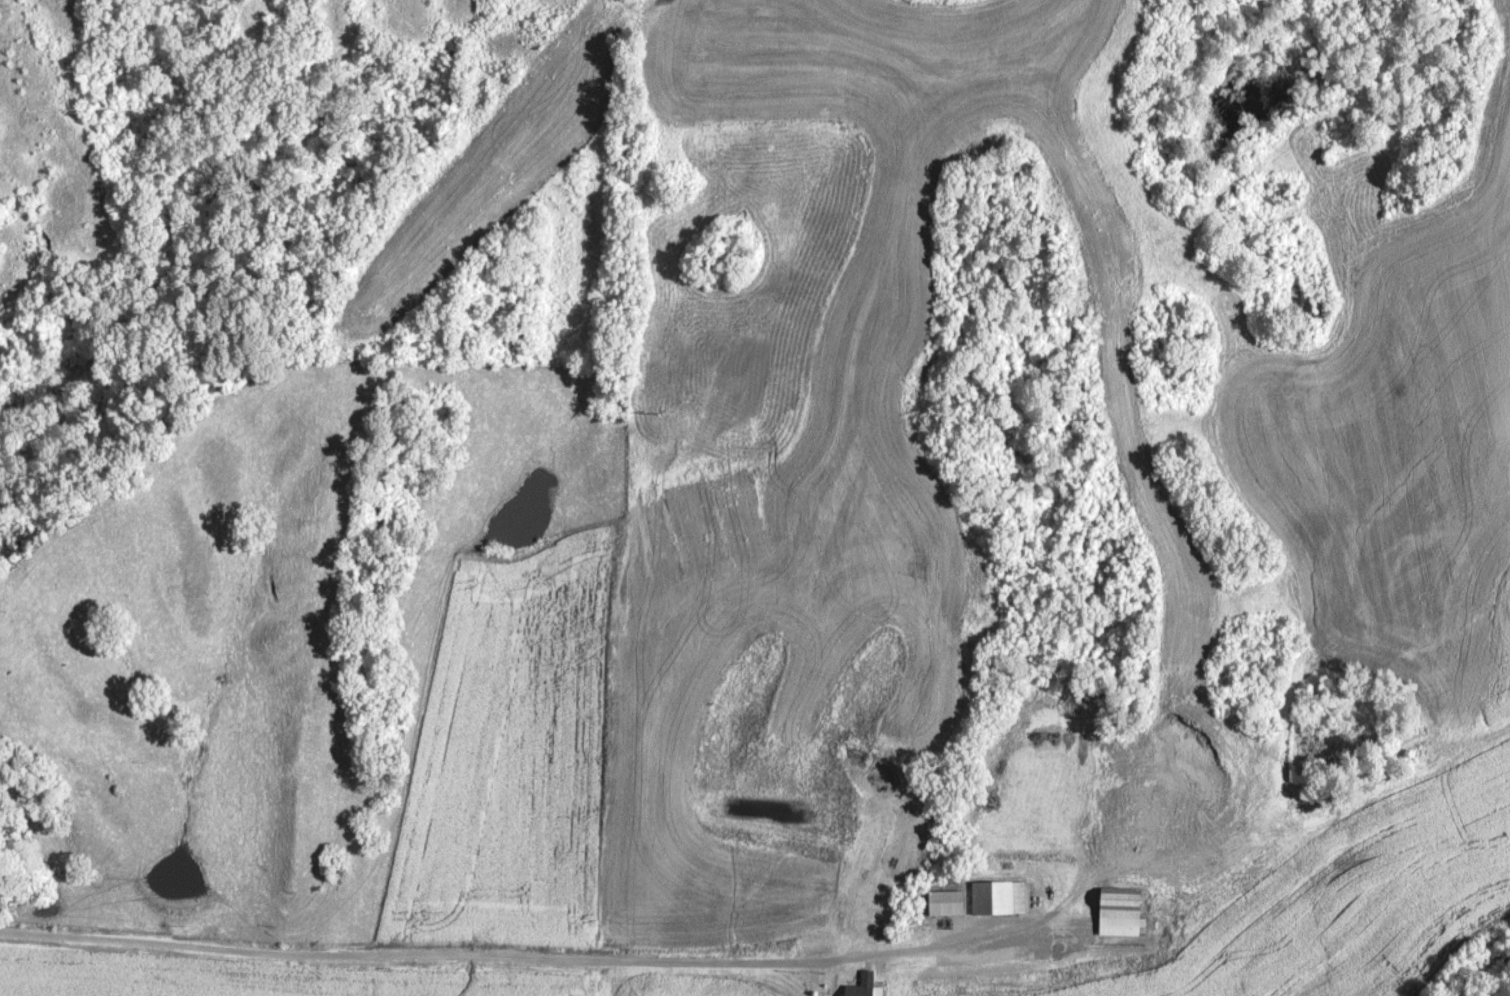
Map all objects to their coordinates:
building: (994, 897)
building: (949, 903)
building: (1122, 907)
road: (509, 952)
building: (864, 985)

